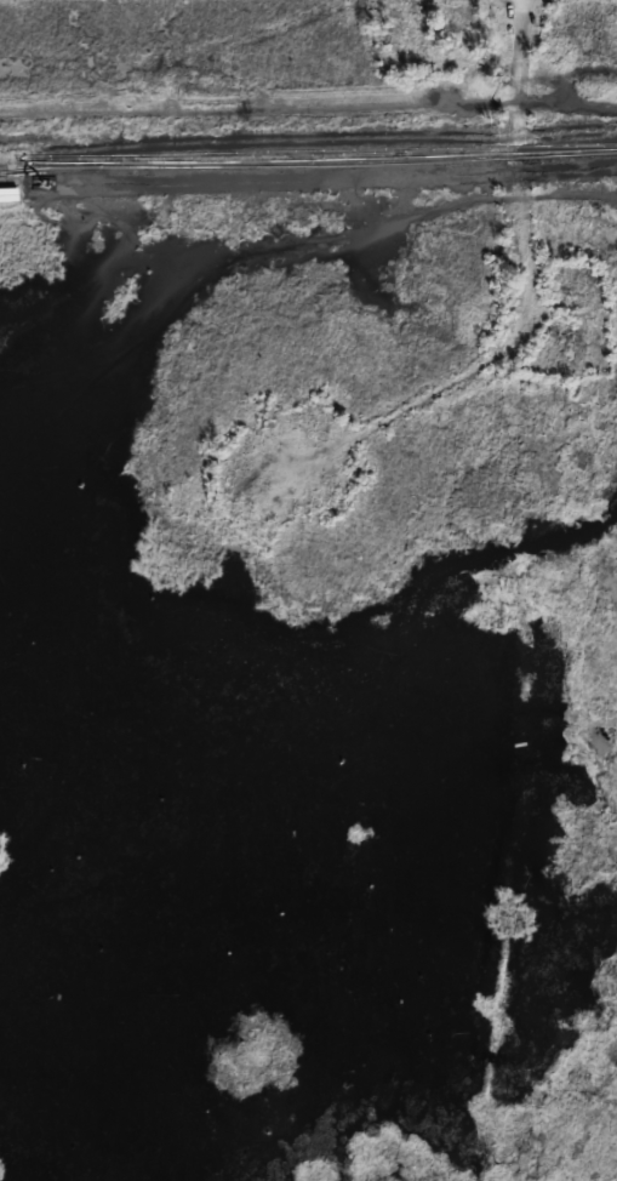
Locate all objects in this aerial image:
road: (530, 314)

